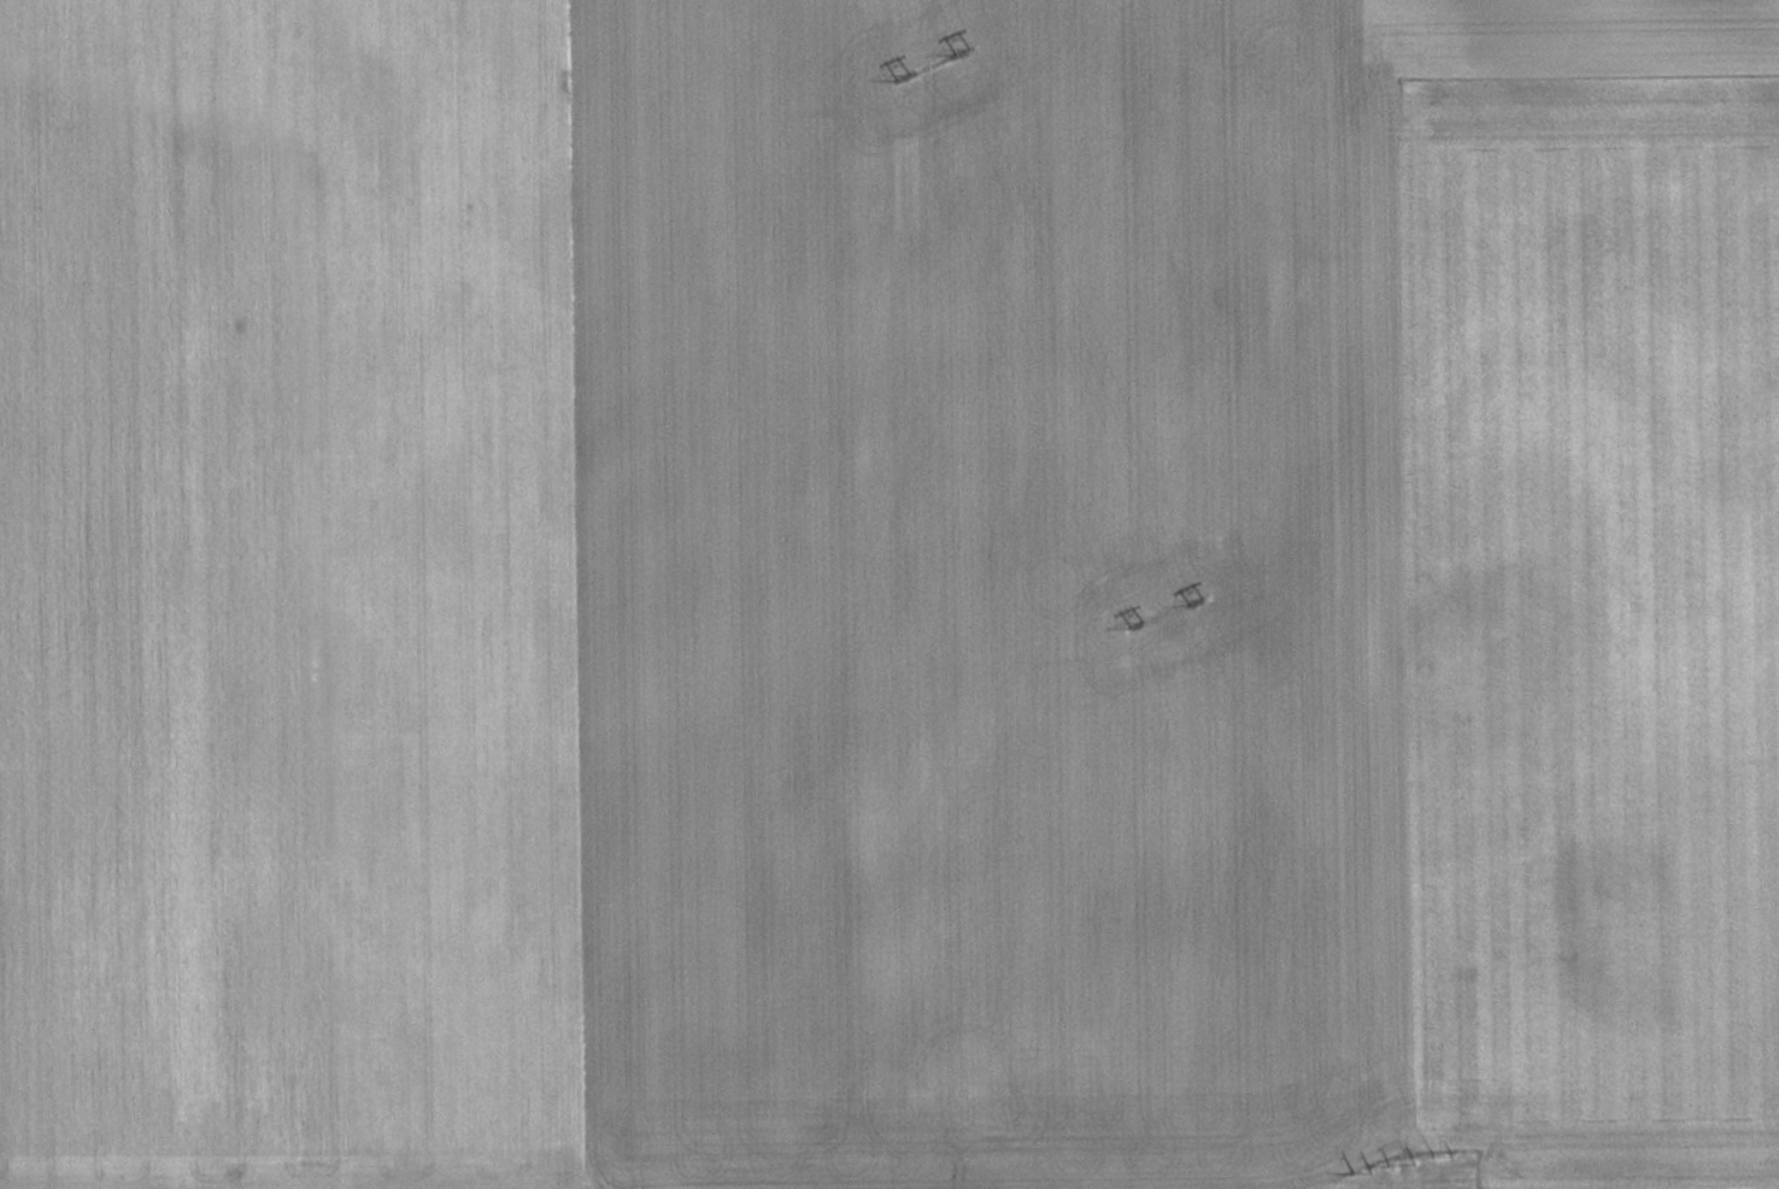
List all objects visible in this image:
power tower: (962, 49)
power tower: (904, 76)
power tower: (1196, 599)
power tower: (1134, 622)
power tower: (1434, 1156)
power tower: (1369, 1169)

